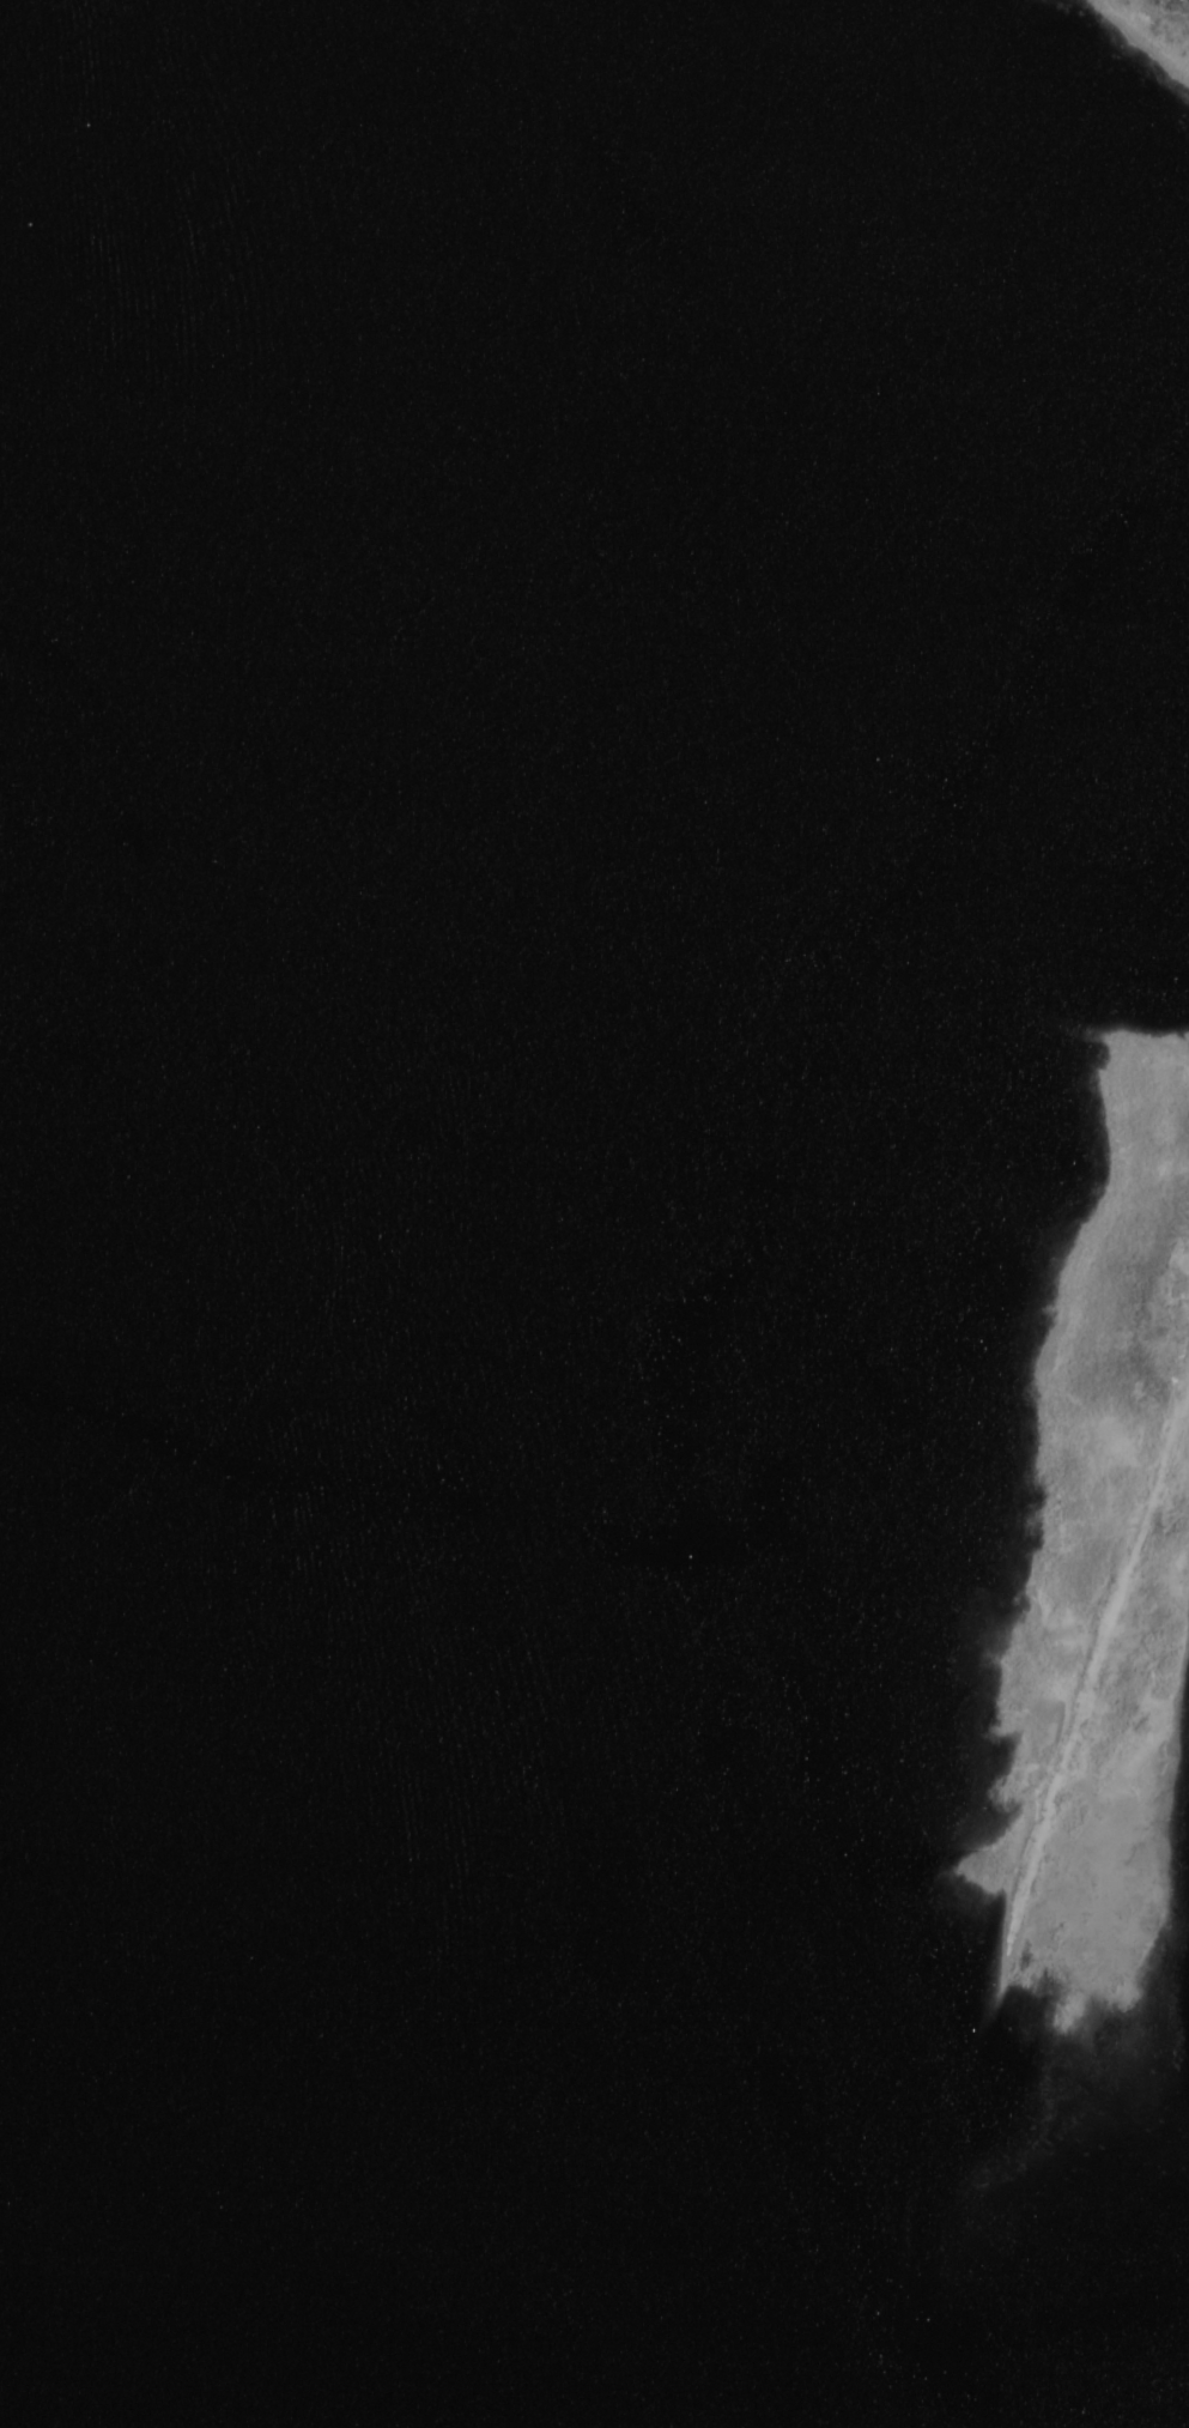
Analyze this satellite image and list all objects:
road: (1050, 1846)
river: (202, 2229)

